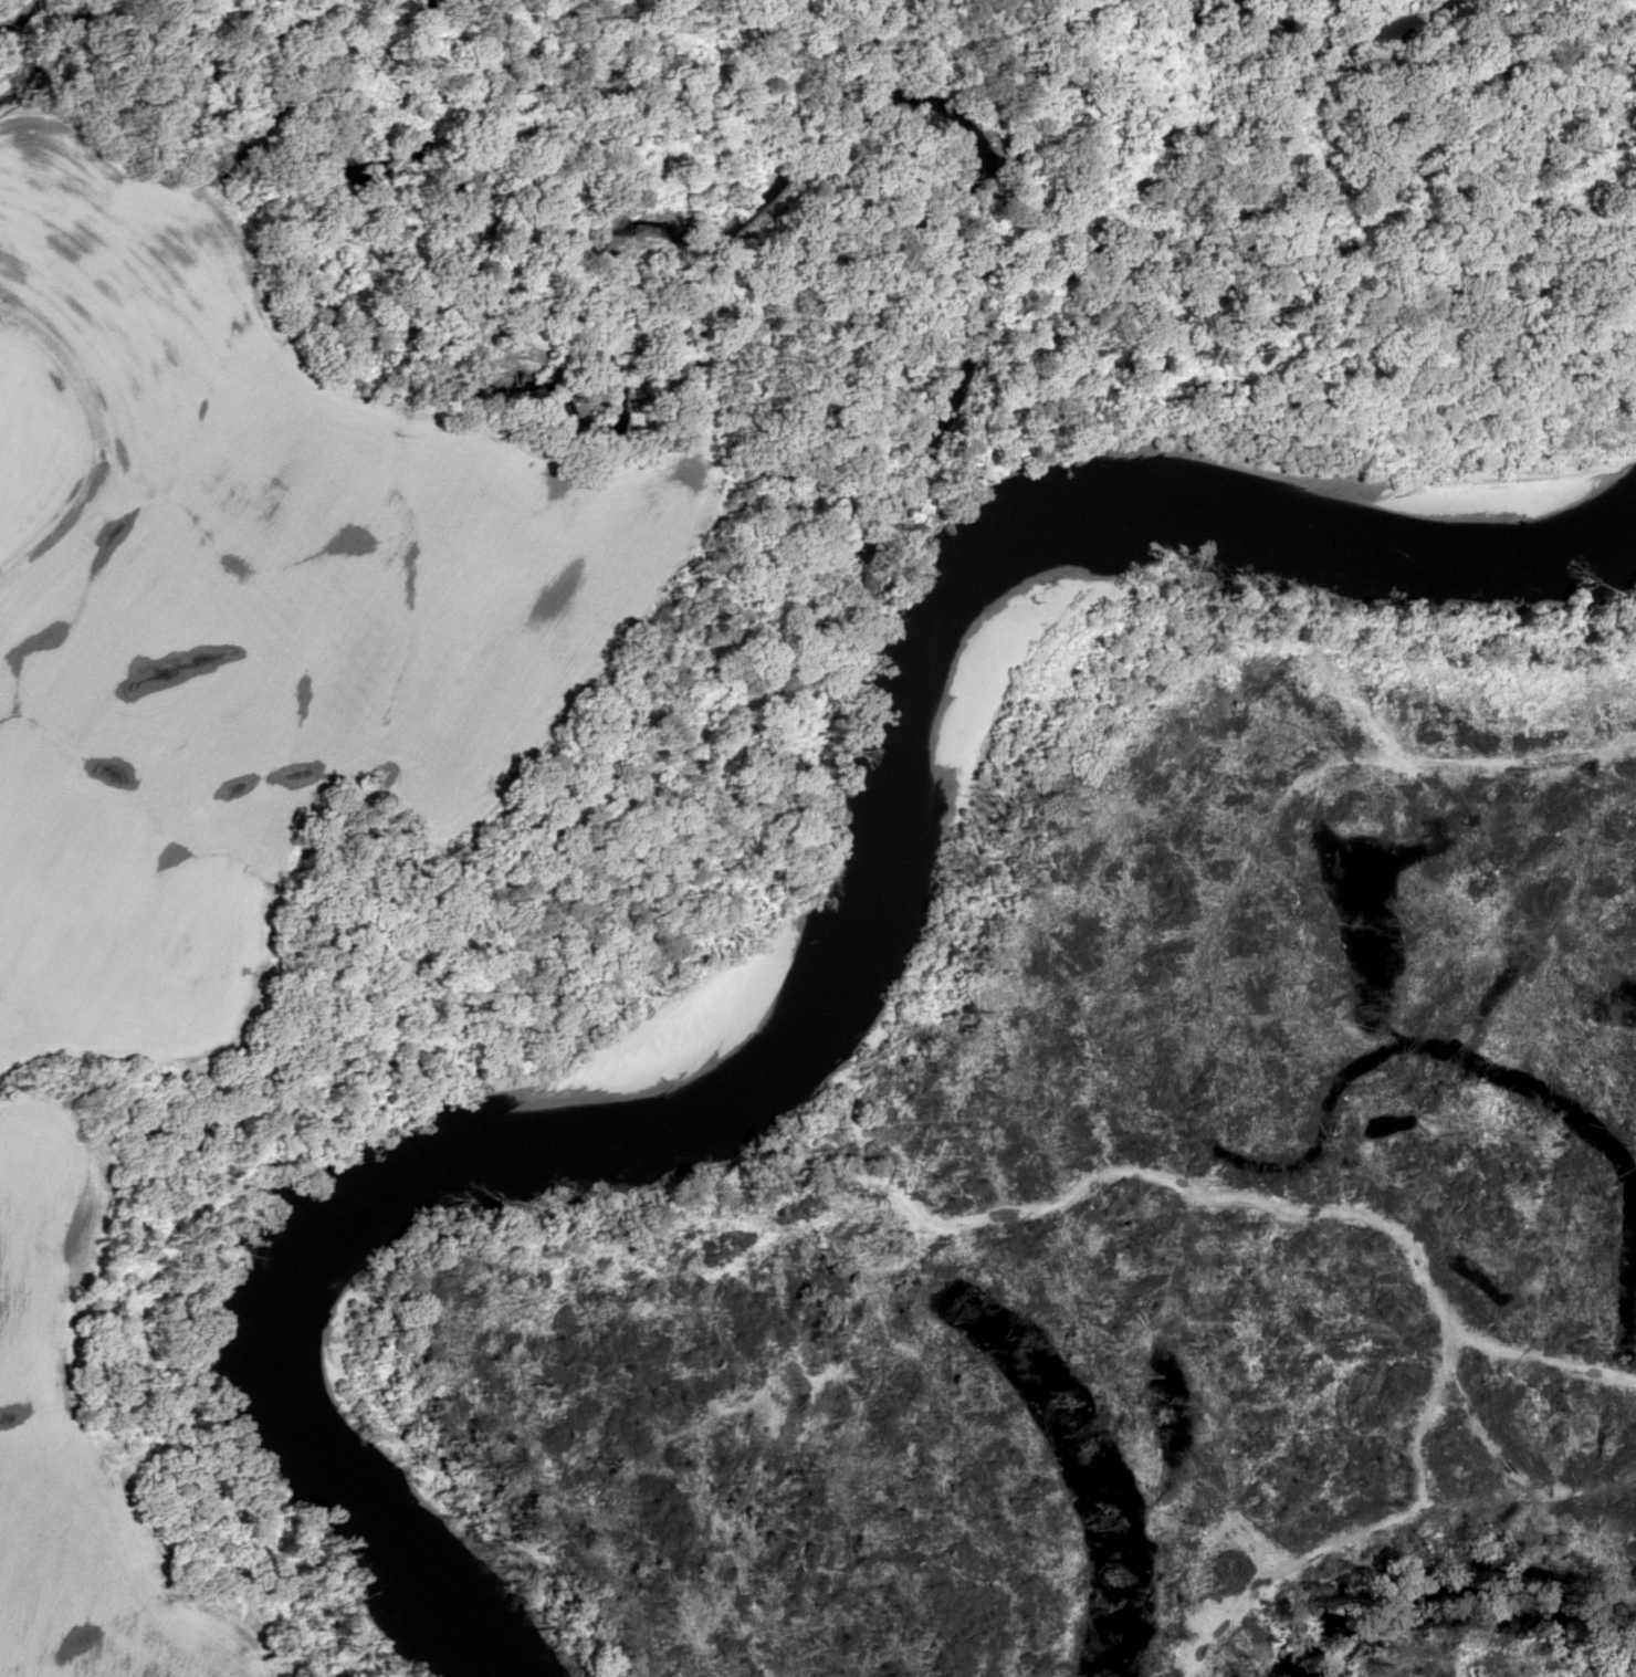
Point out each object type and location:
road: (86, 442)
river: (824, 952)
road: (72, 1386)

